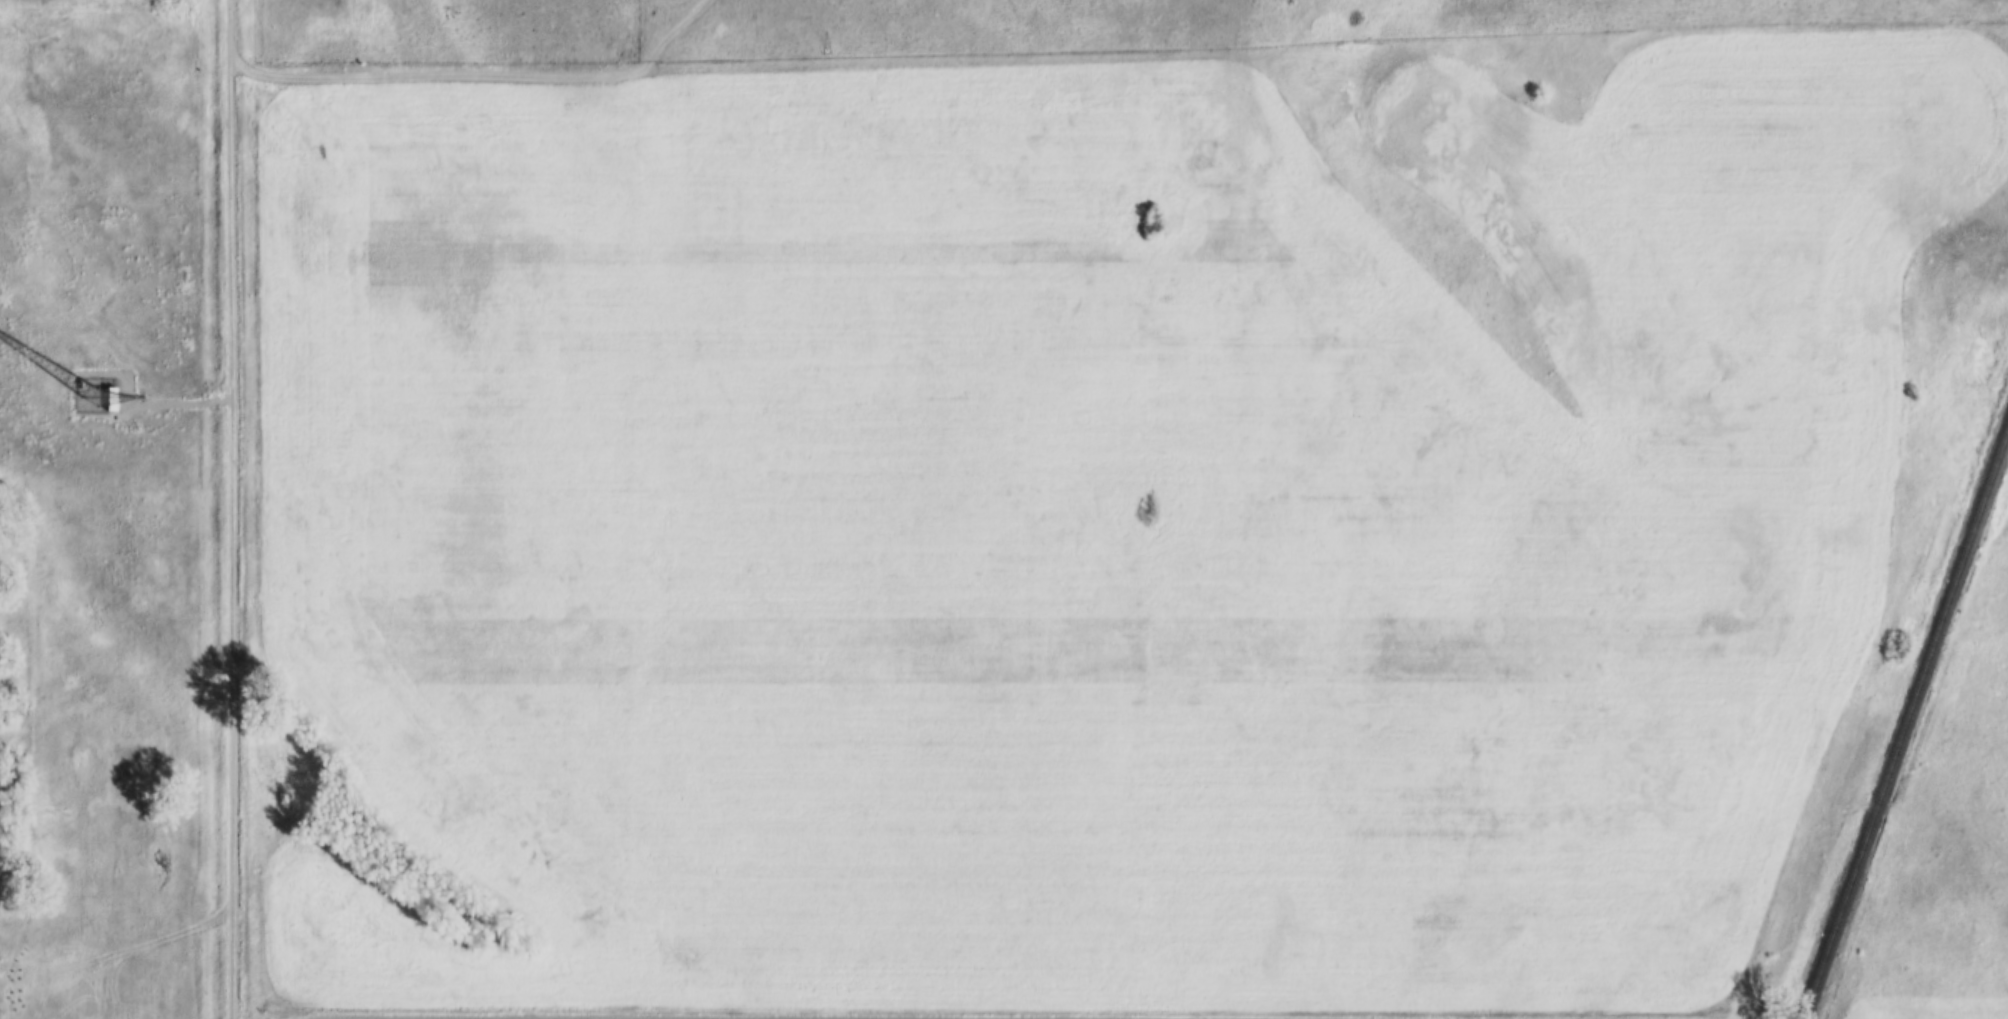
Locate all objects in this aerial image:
building: (105, 388)
road: (237, 509)
railway: (1905, 721)

